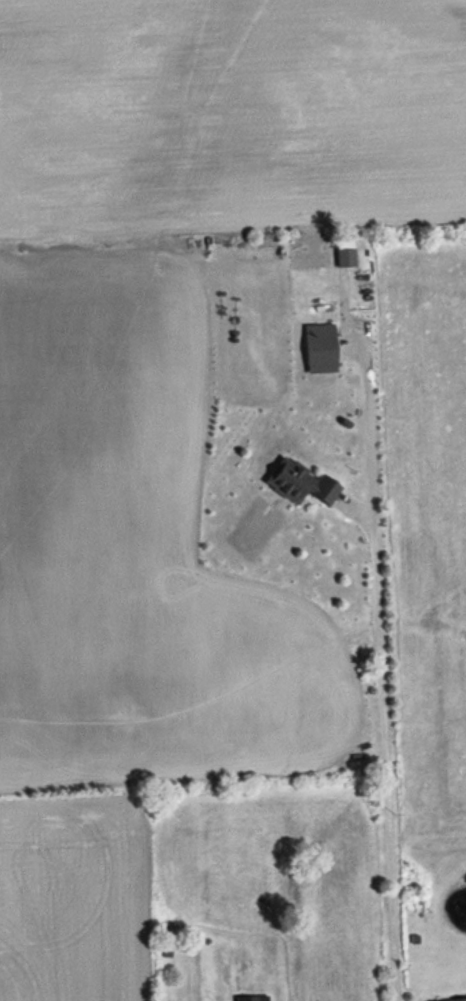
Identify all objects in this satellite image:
building: (319, 349)
building: (301, 483)
building: (251, 998)
building: (454, 999)

